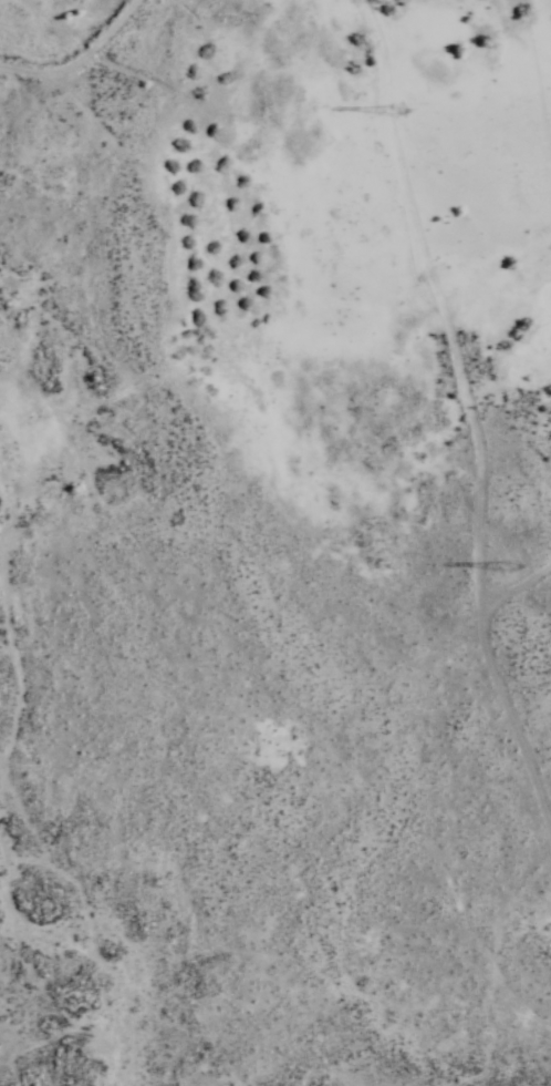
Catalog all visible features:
road: (81, 61)
power tower: (397, 110)
road: (474, 411)
power tower: (502, 578)

